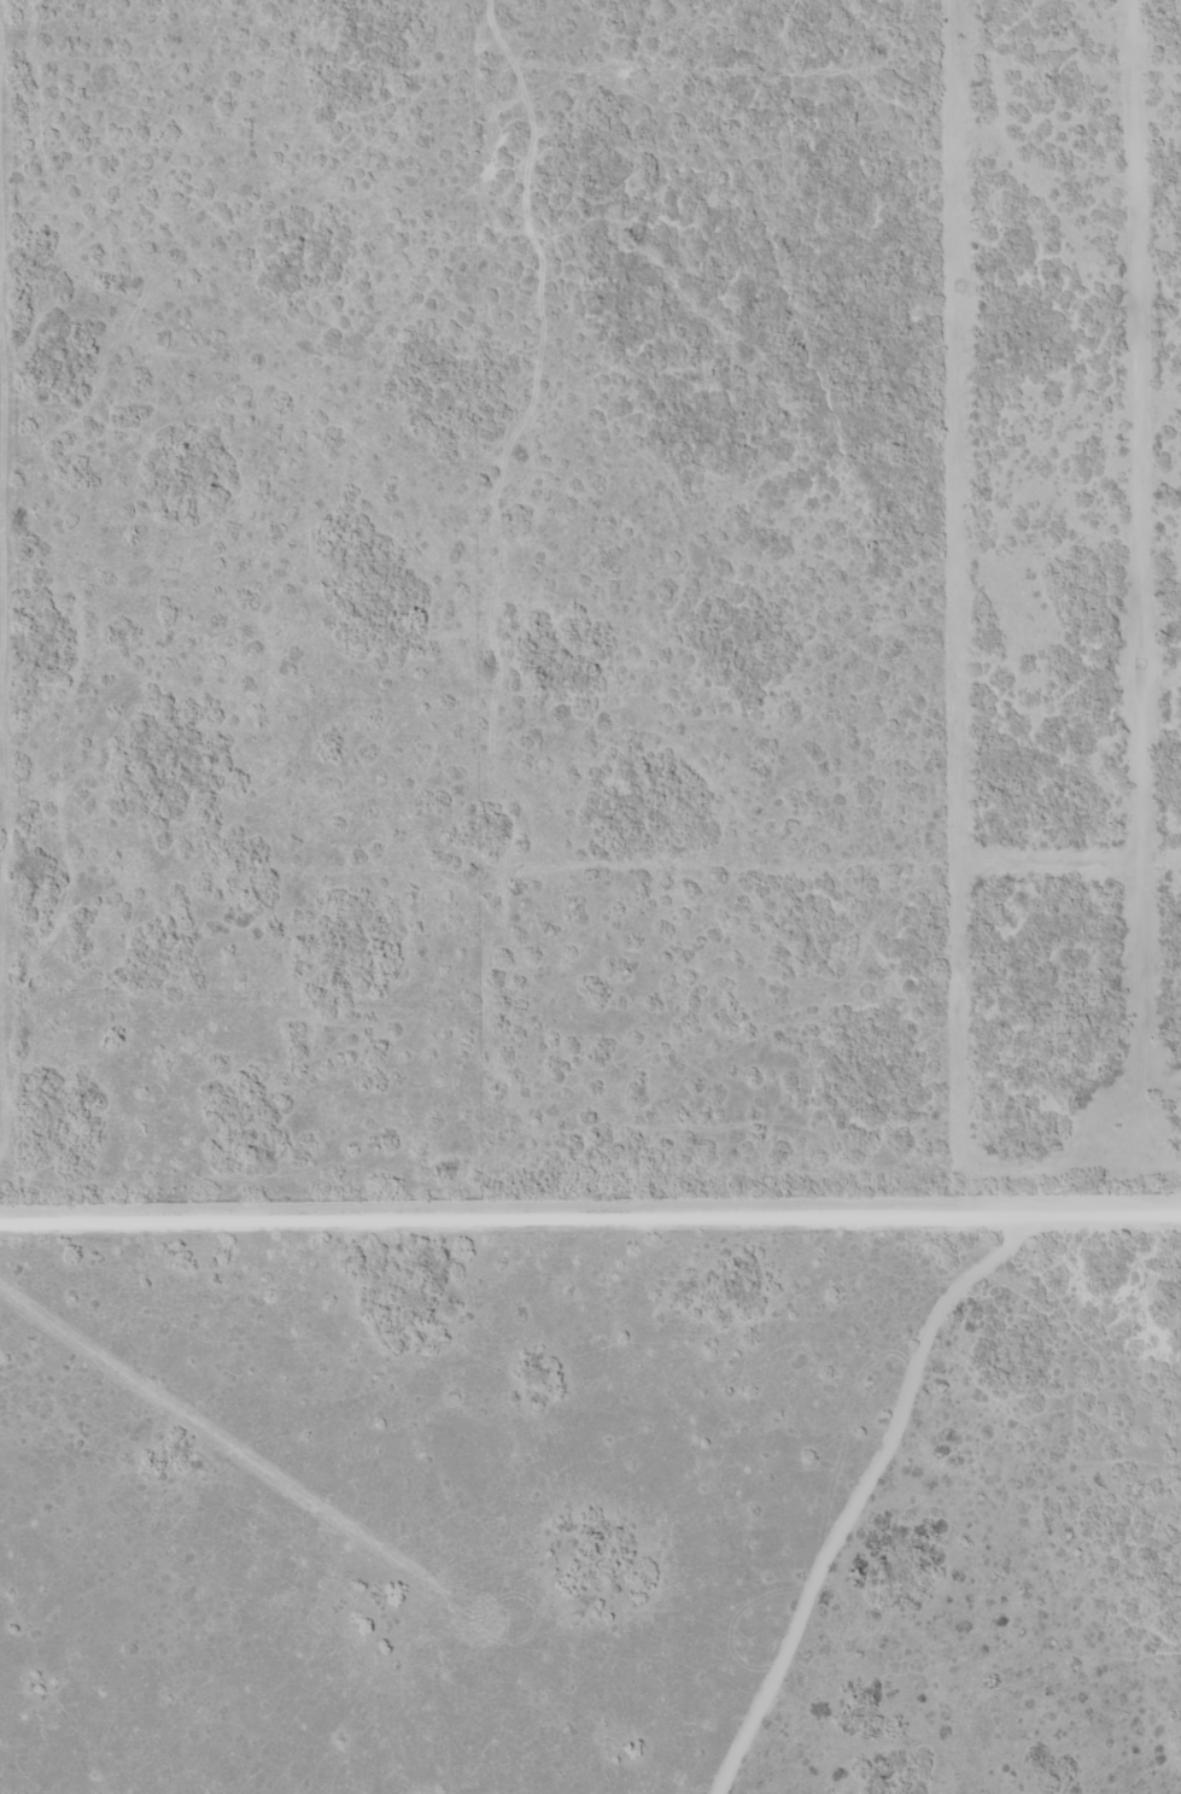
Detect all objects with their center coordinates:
road: (590, 1214)

